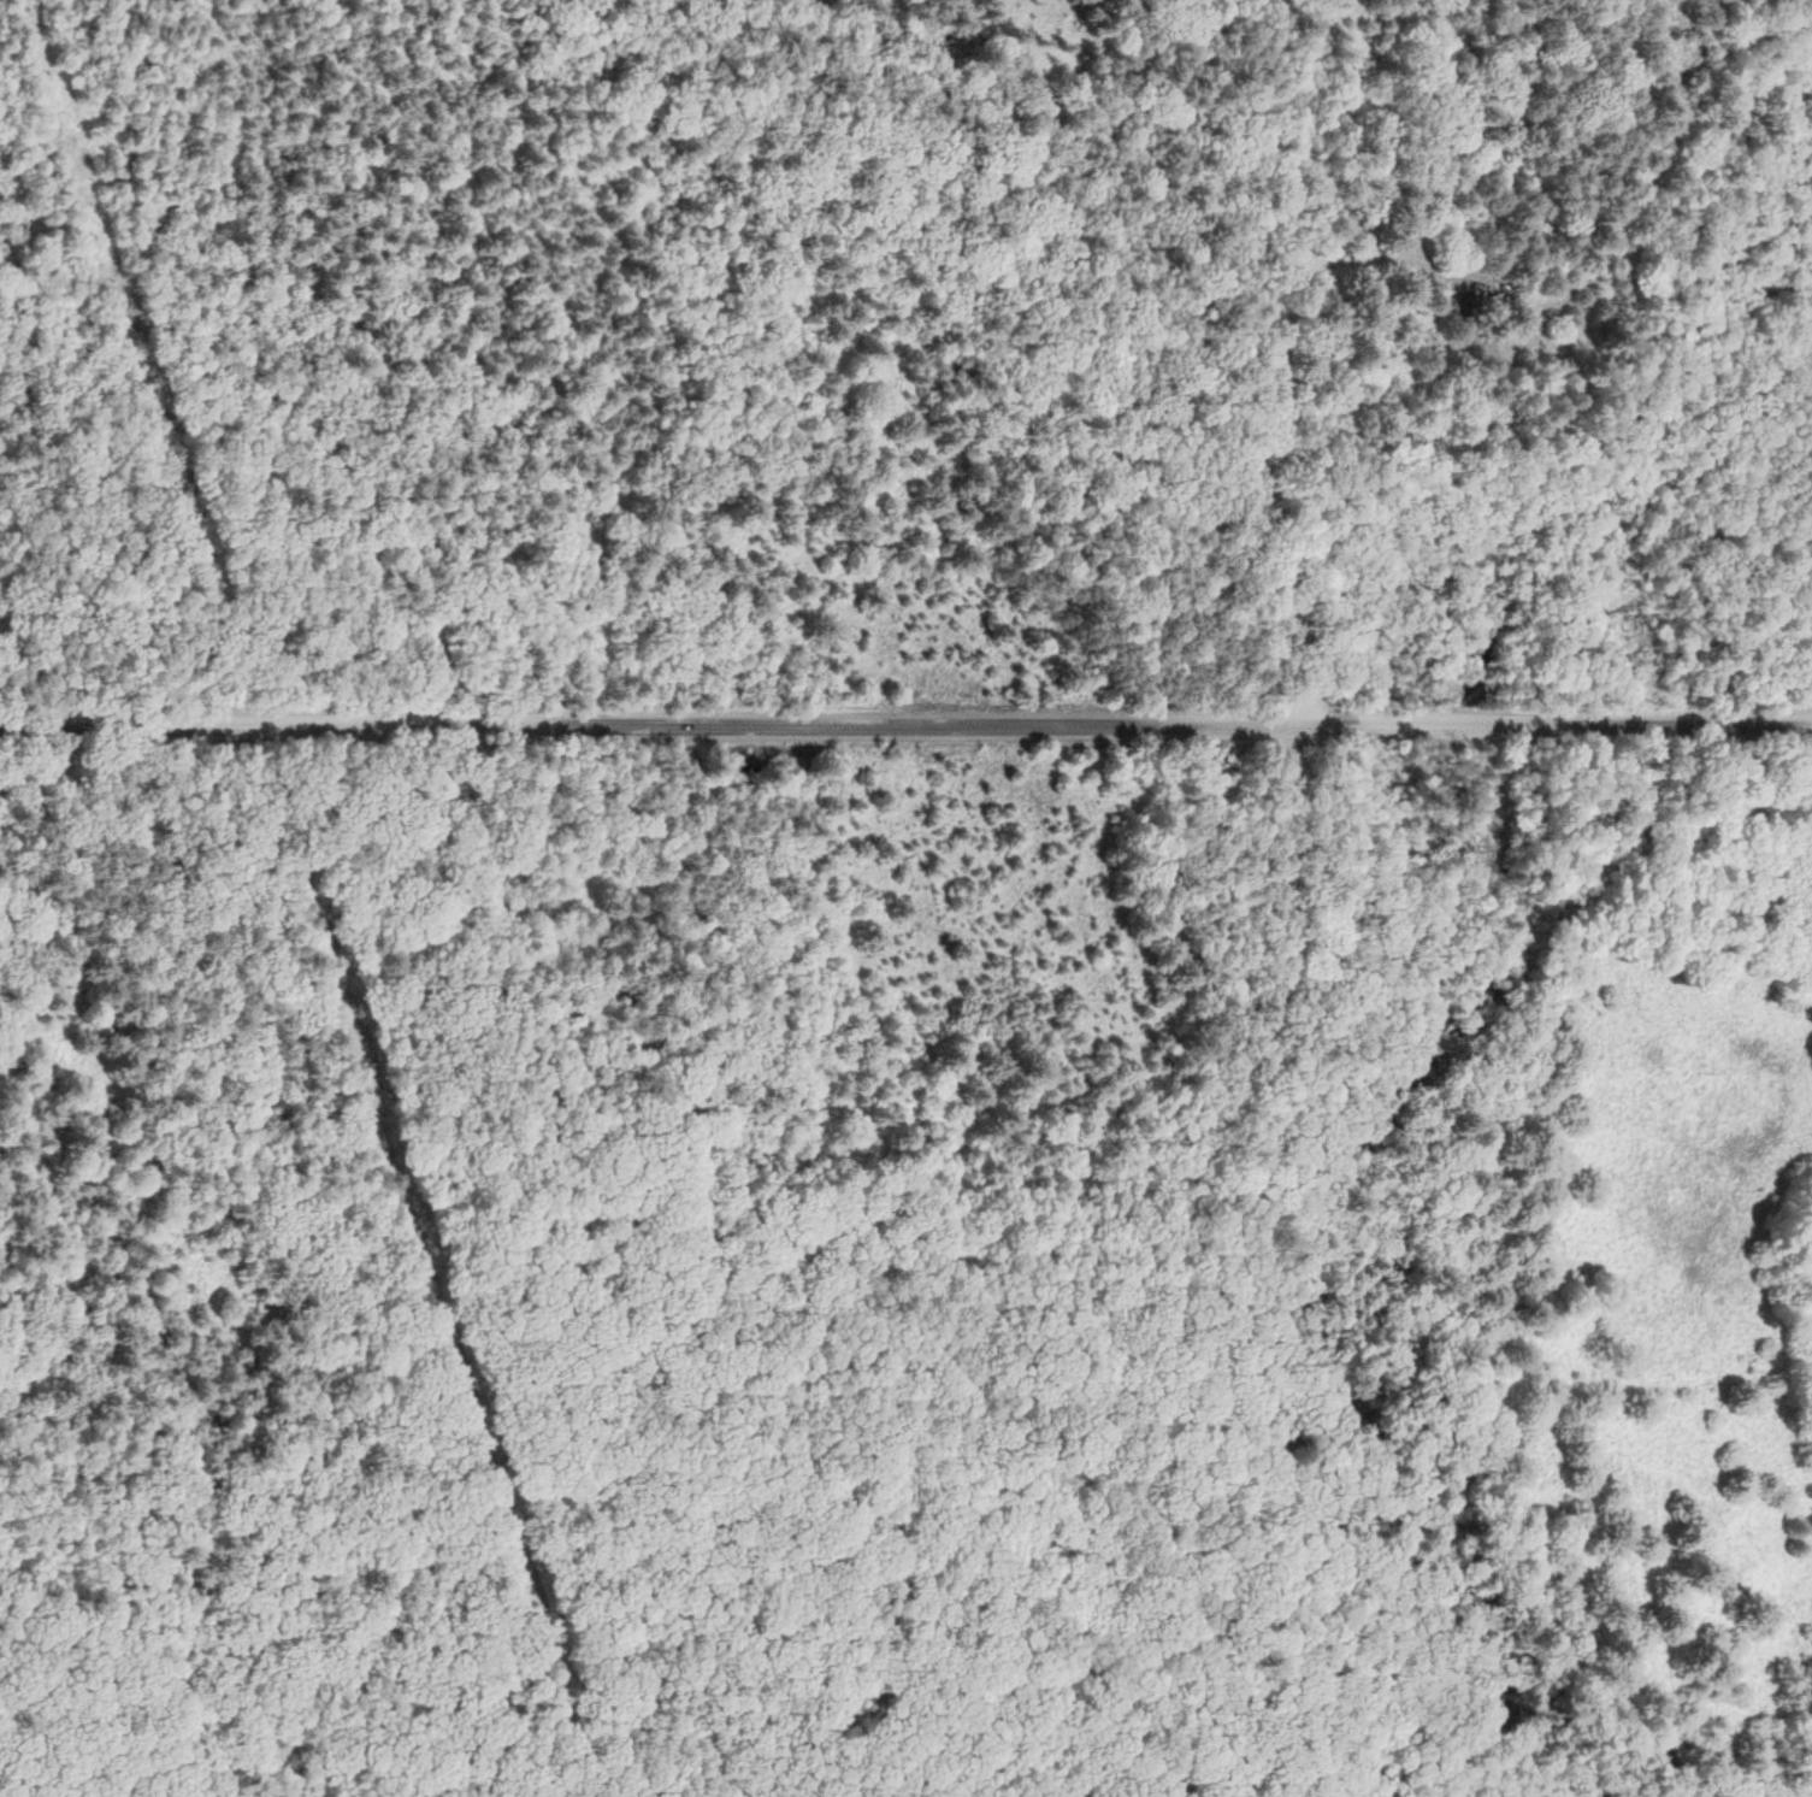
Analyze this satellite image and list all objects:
road: (1291, 307)
road: (905, 727)
road: (1175, 1156)
road: (851, 1660)

